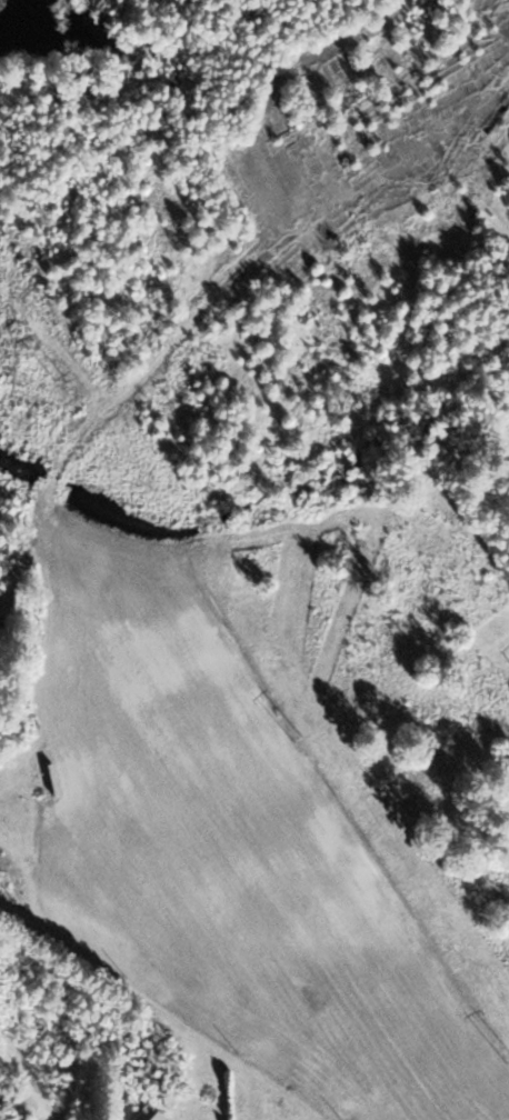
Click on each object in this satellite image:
road: (409, 1)
road: (433, 169)
power tower: (57, 376)
power tower: (298, 739)
building: (148, 1113)

